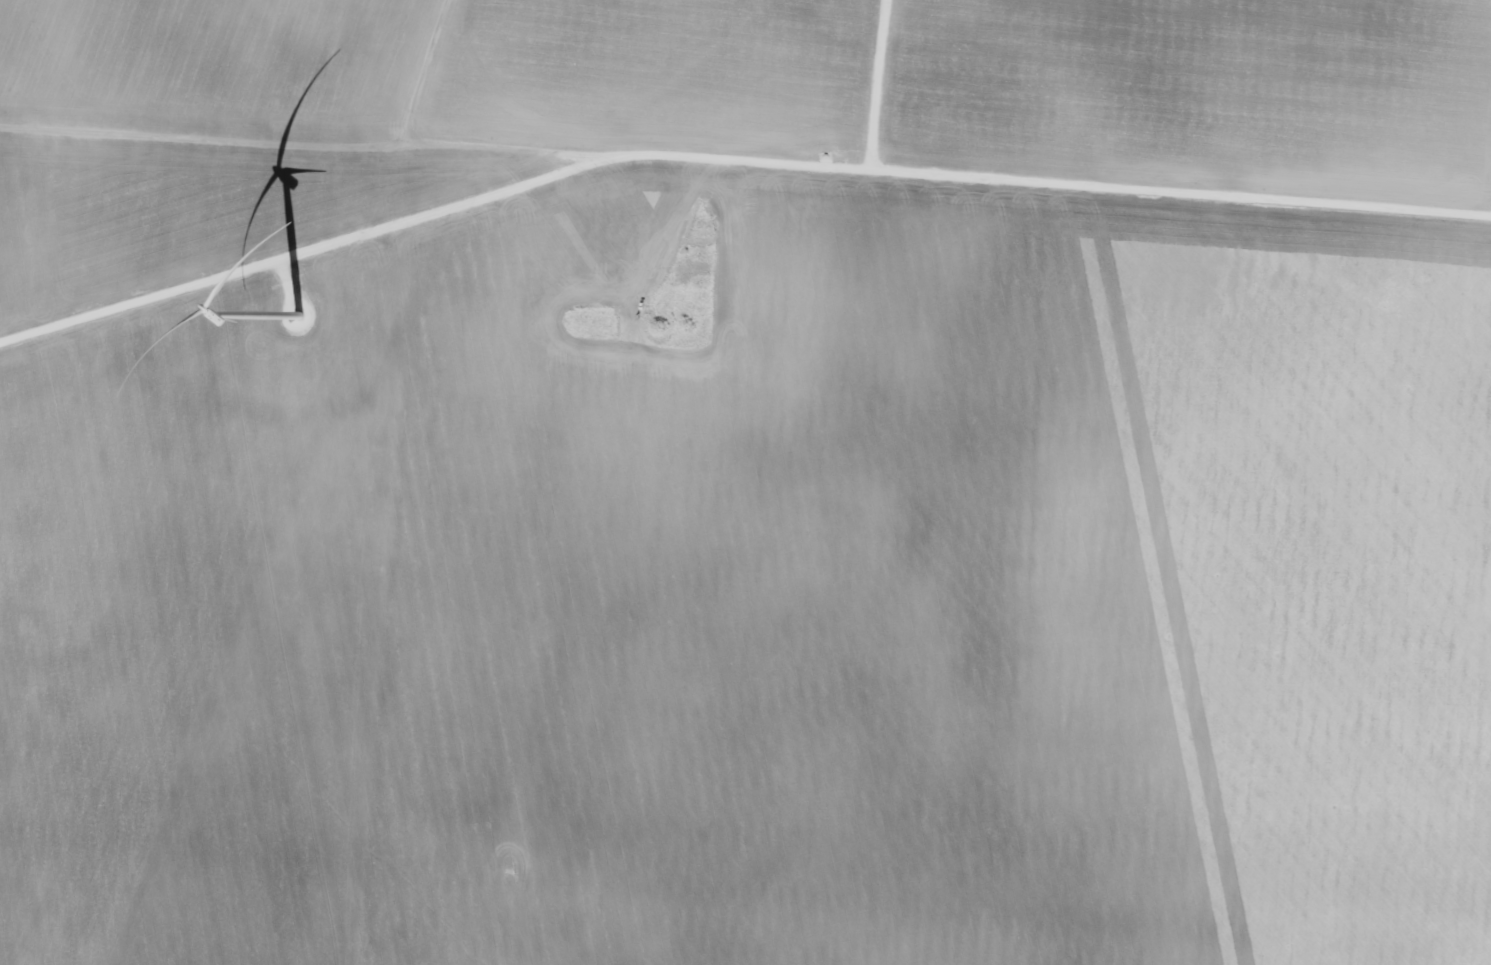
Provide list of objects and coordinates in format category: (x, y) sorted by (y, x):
wind turbine: (298, 316)

